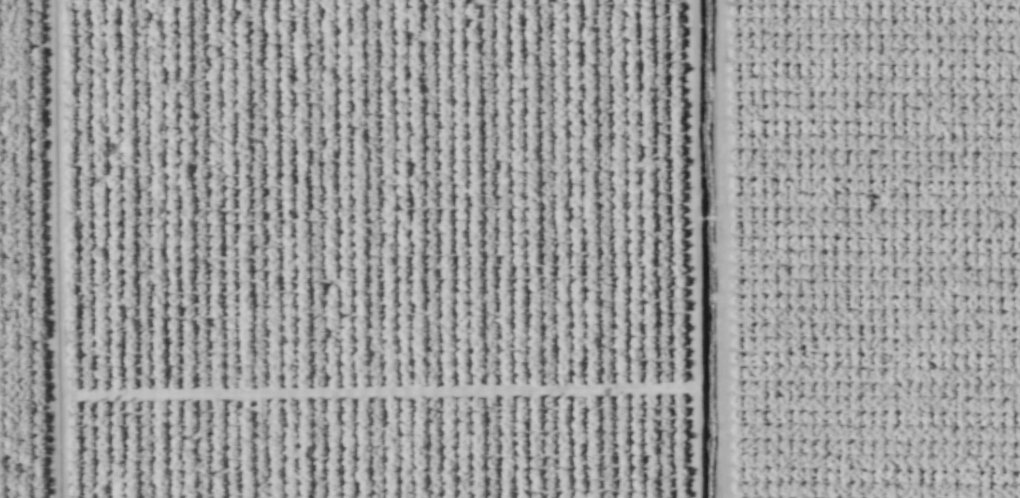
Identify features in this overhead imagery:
road: (62, 248)
road: (696, 248)
road: (724, 249)
road: (381, 391)

